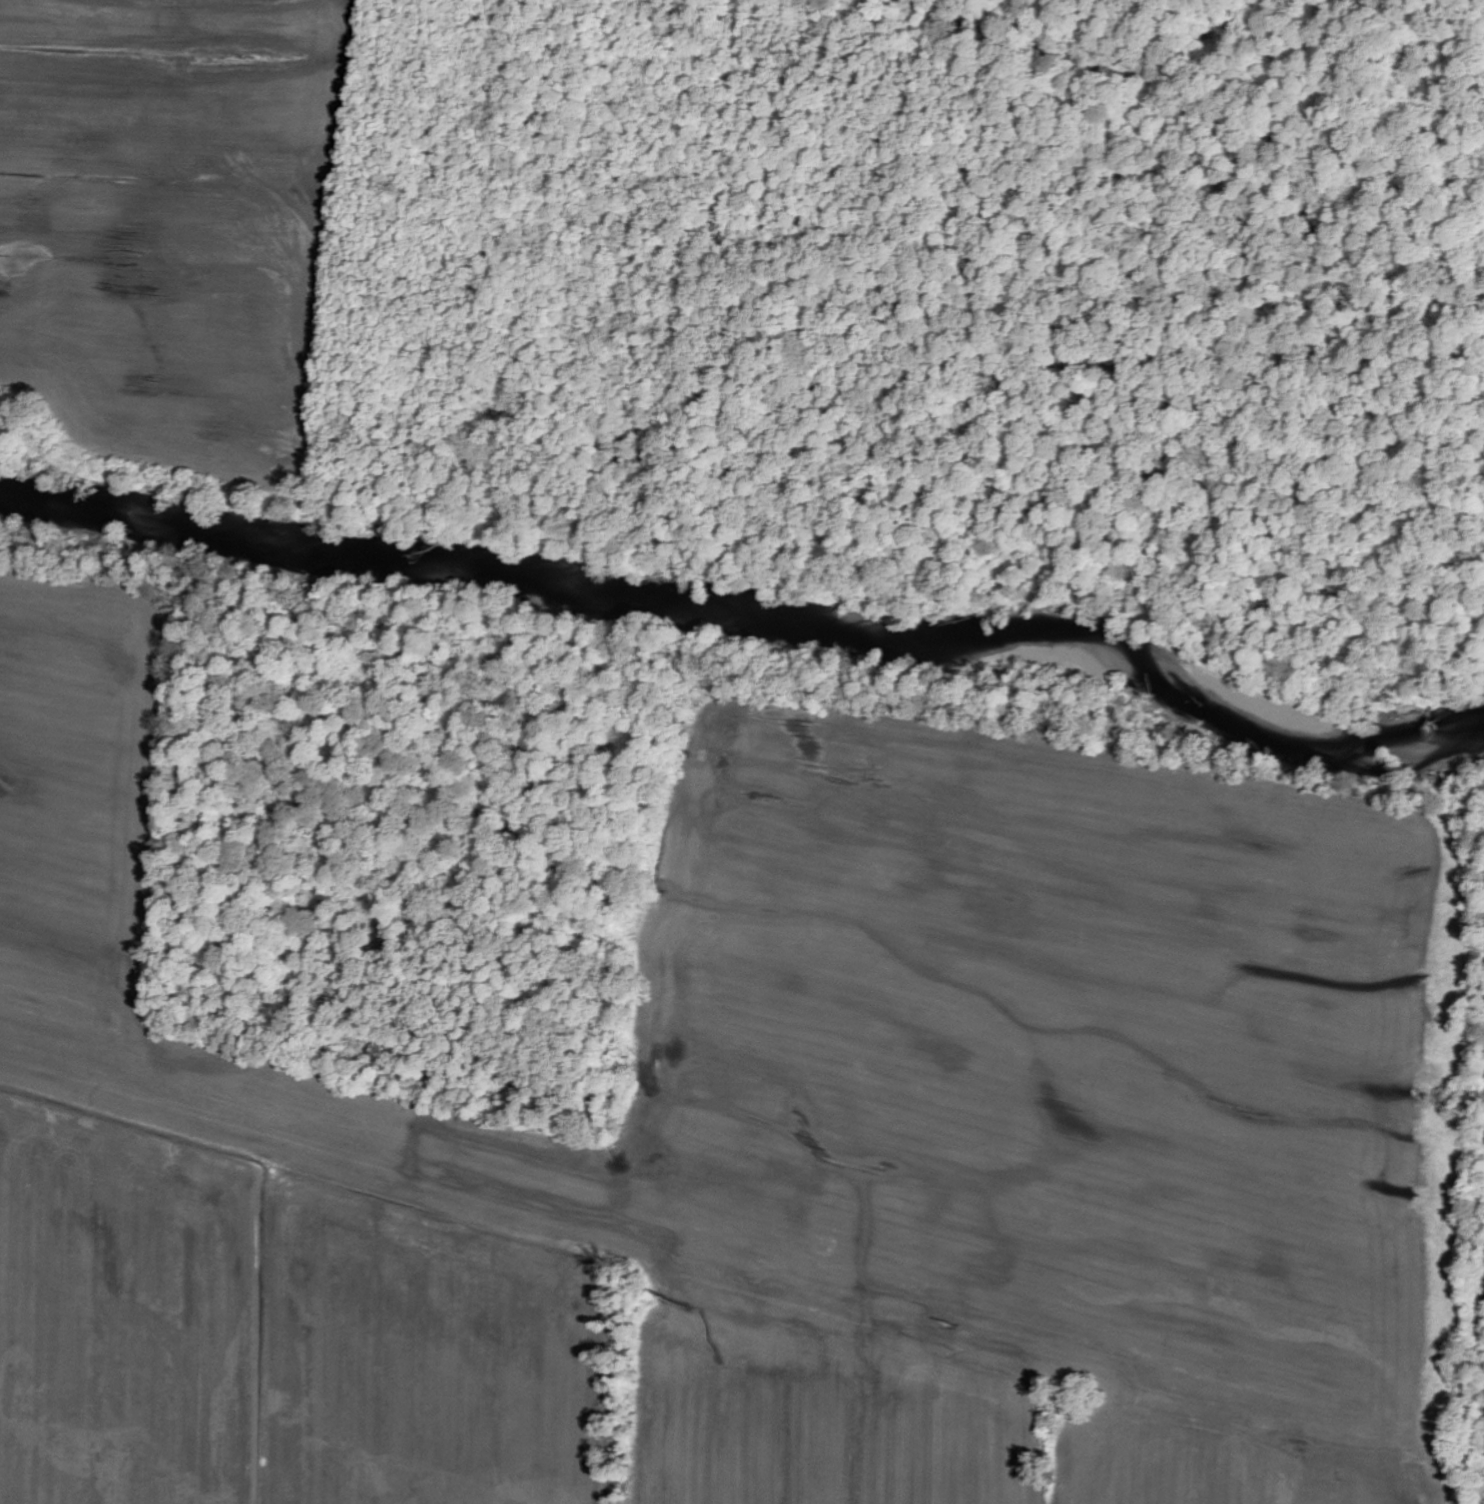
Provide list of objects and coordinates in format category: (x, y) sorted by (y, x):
river: (764, 611)

